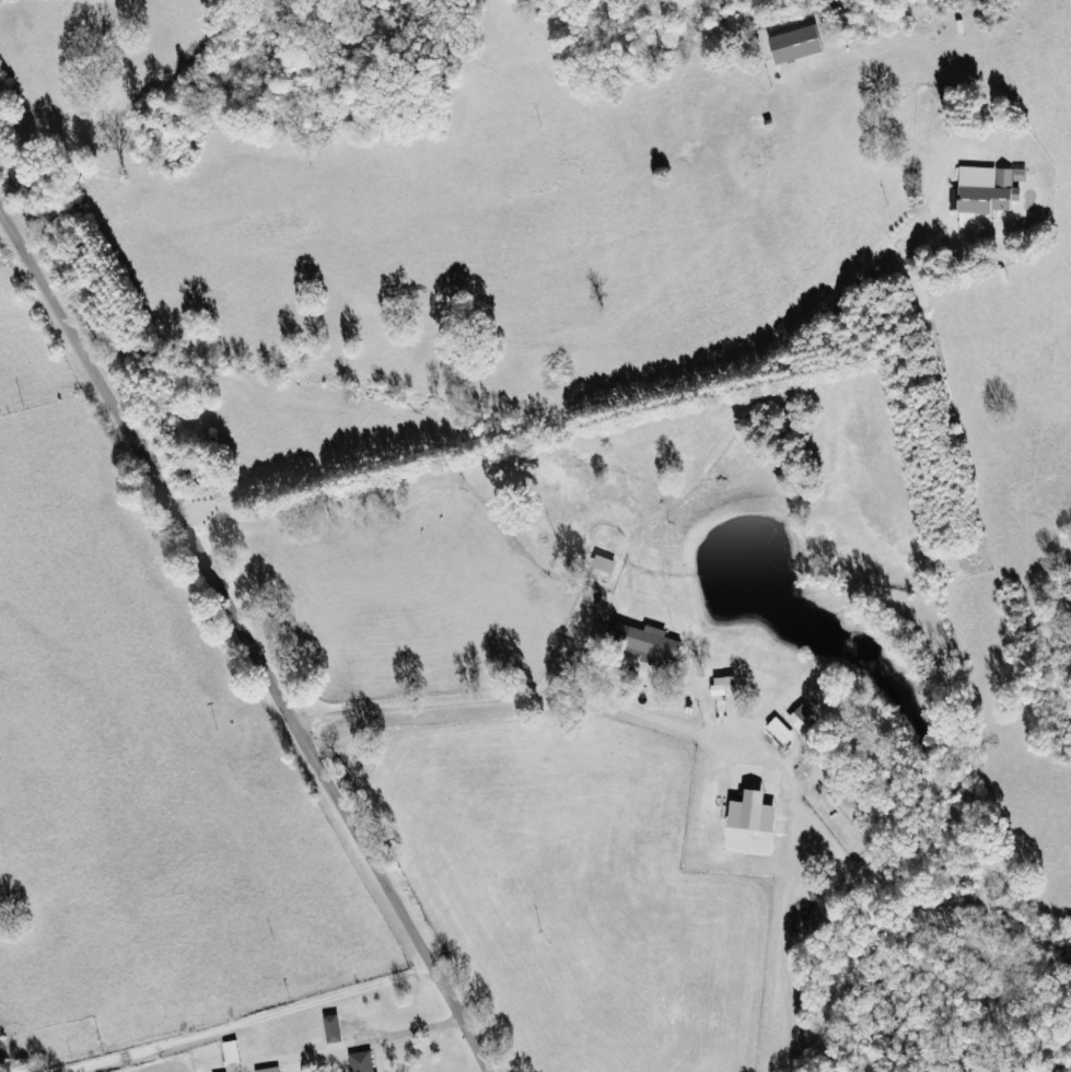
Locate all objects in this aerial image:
building: (800, 44)
building: (987, 190)
building: (606, 563)
road: (246, 641)
building: (649, 643)
building: (725, 685)
building: (803, 718)
building: (782, 732)
building: (757, 813)
road: (255, 1019)
building: (335, 1029)
building: (234, 1052)
building: (364, 1062)
building: (273, 1070)

